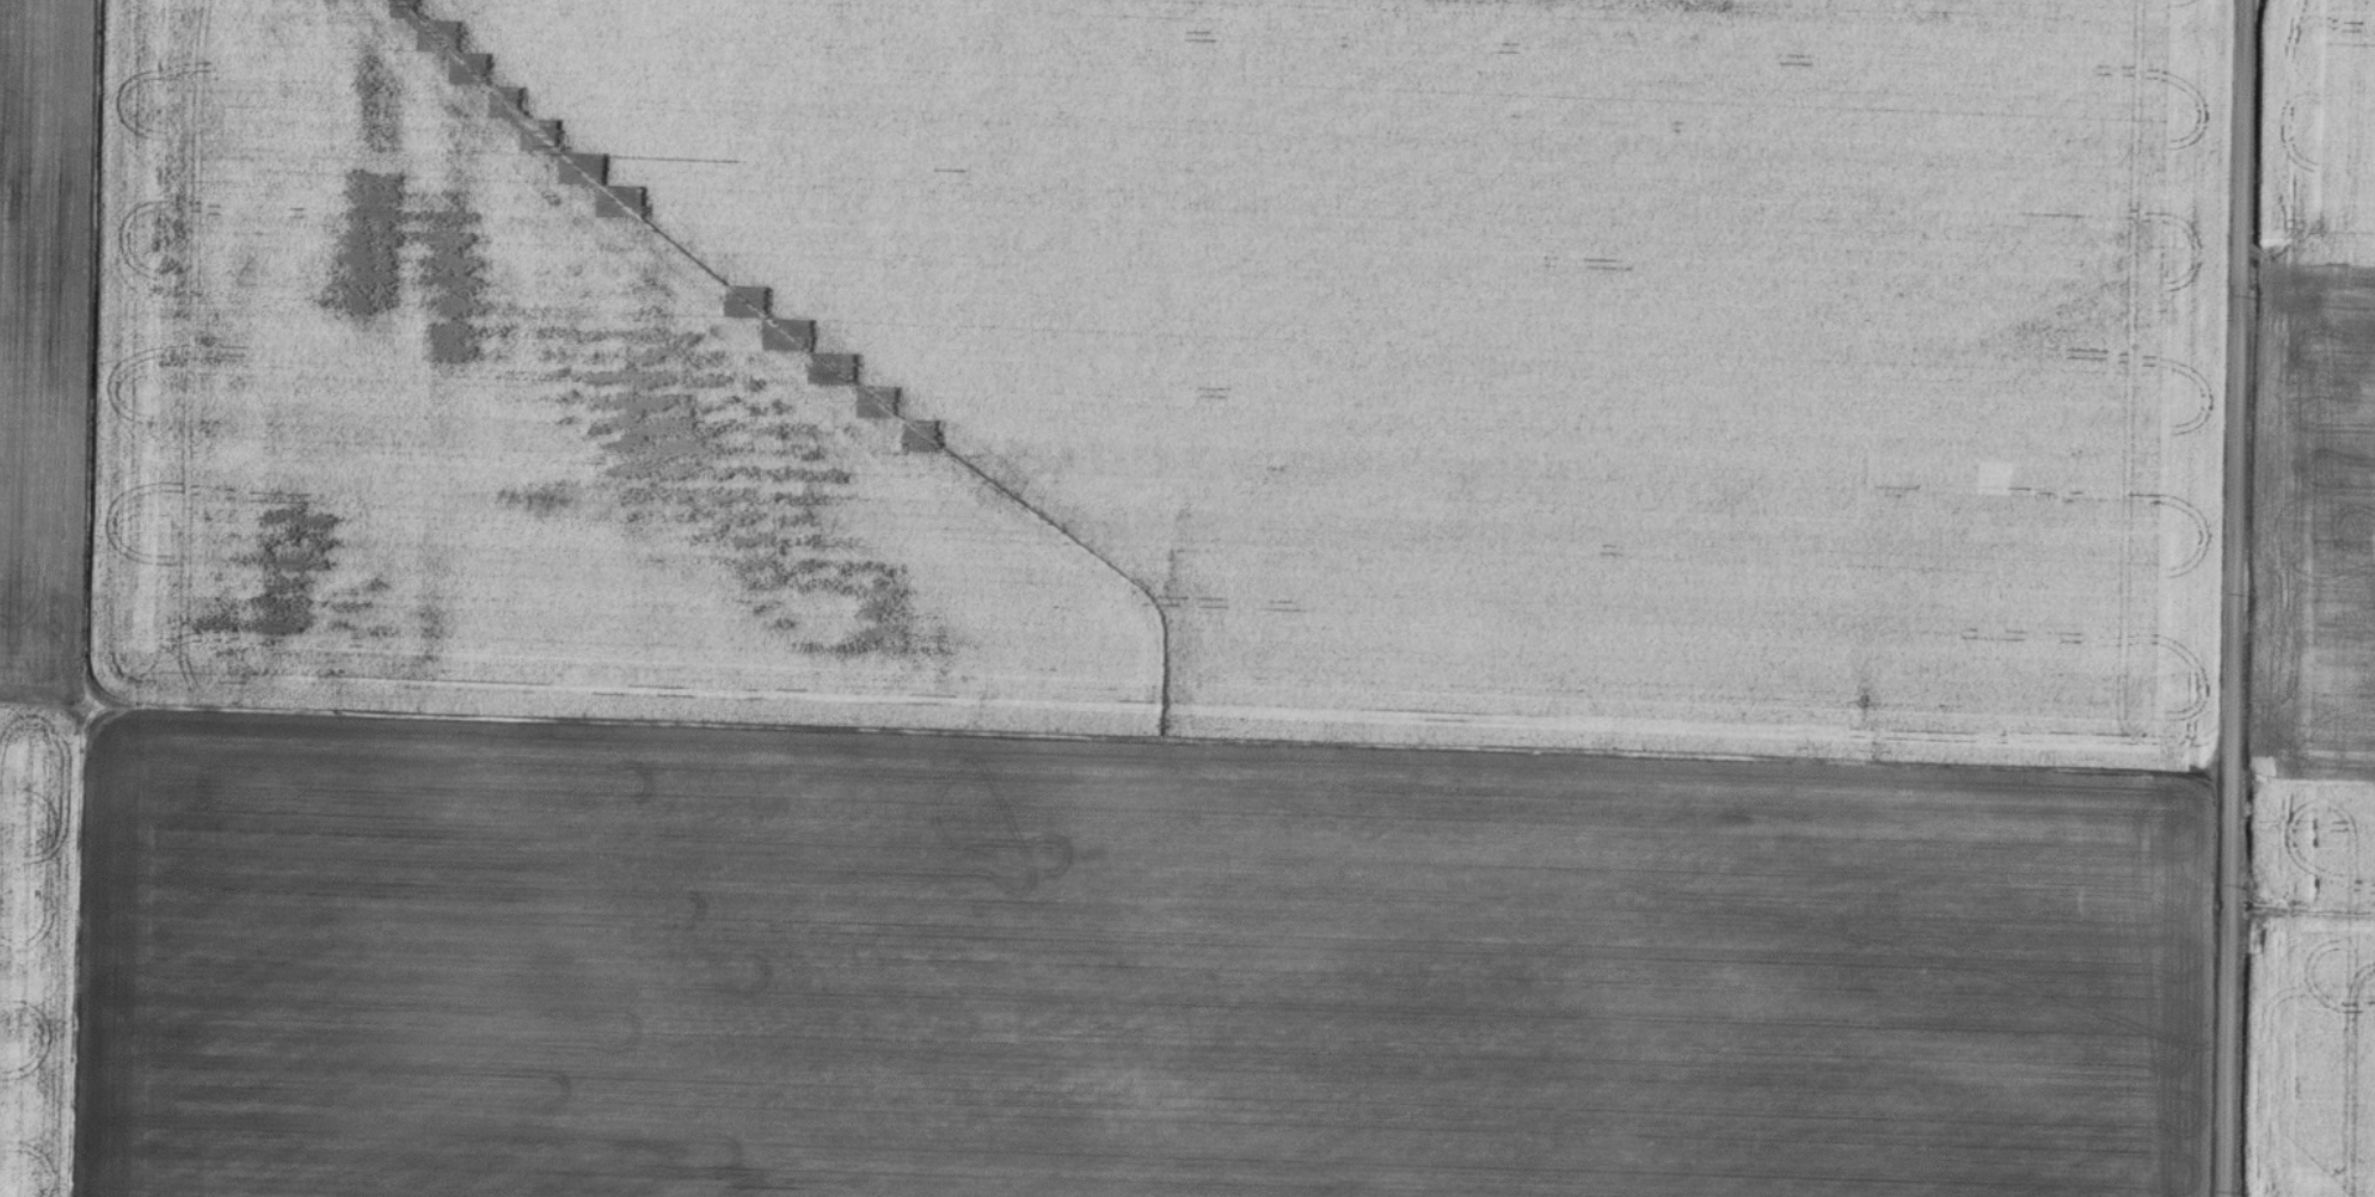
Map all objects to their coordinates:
road: (2235, 597)

